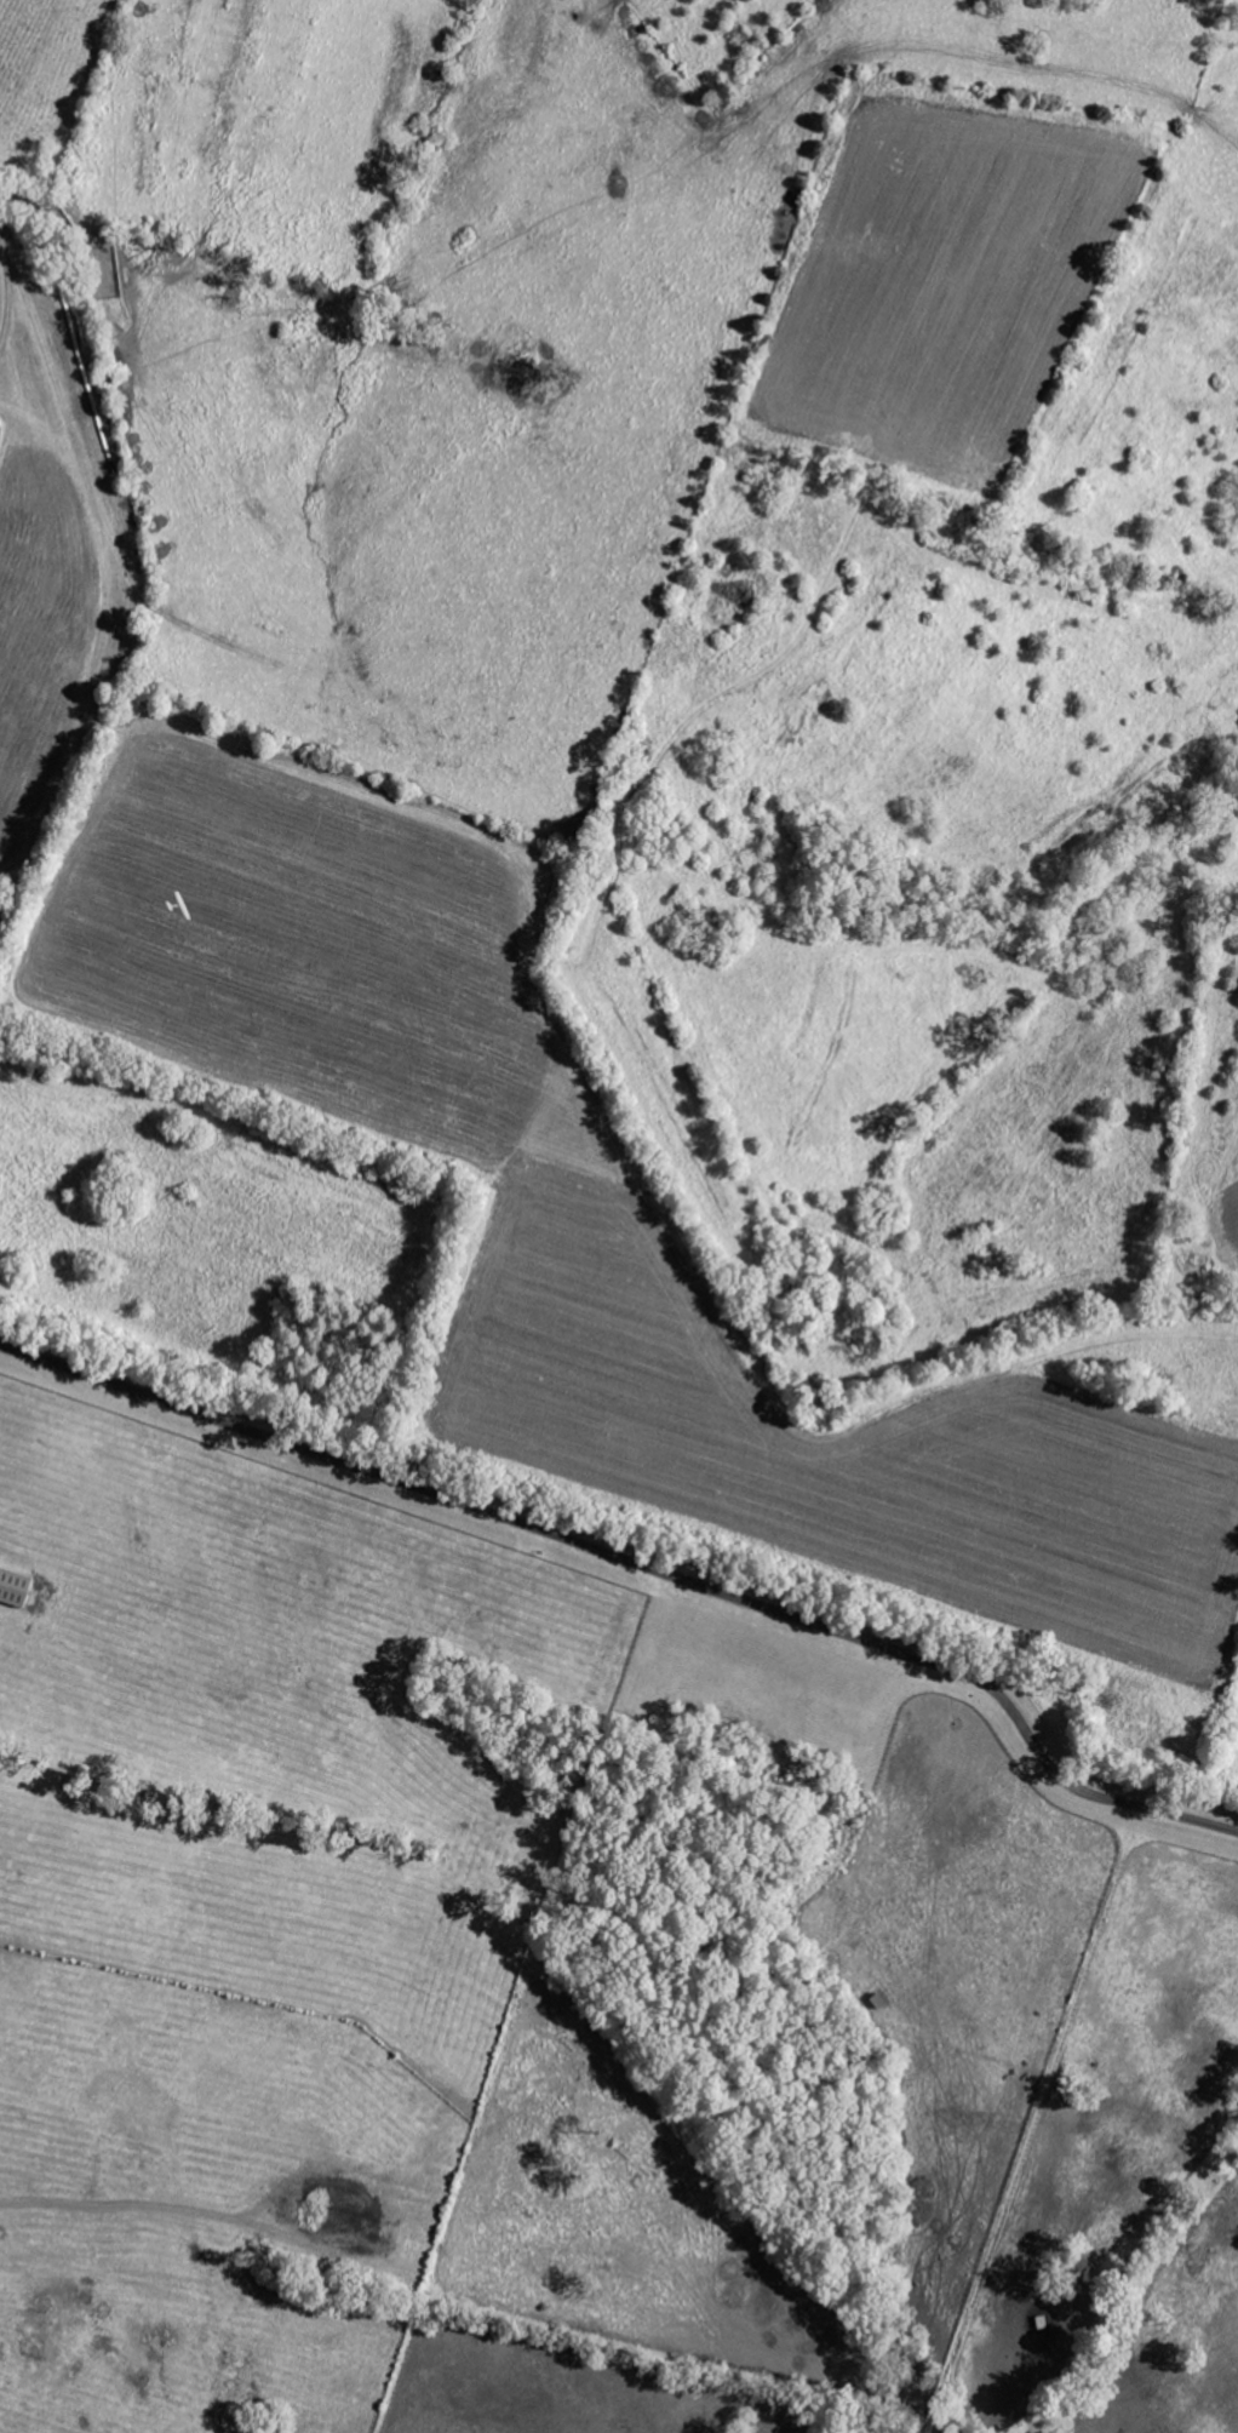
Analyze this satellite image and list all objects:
road: (7, 288)
road: (636, 1563)
building: (12, 1591)
road: (1033, 2425)

